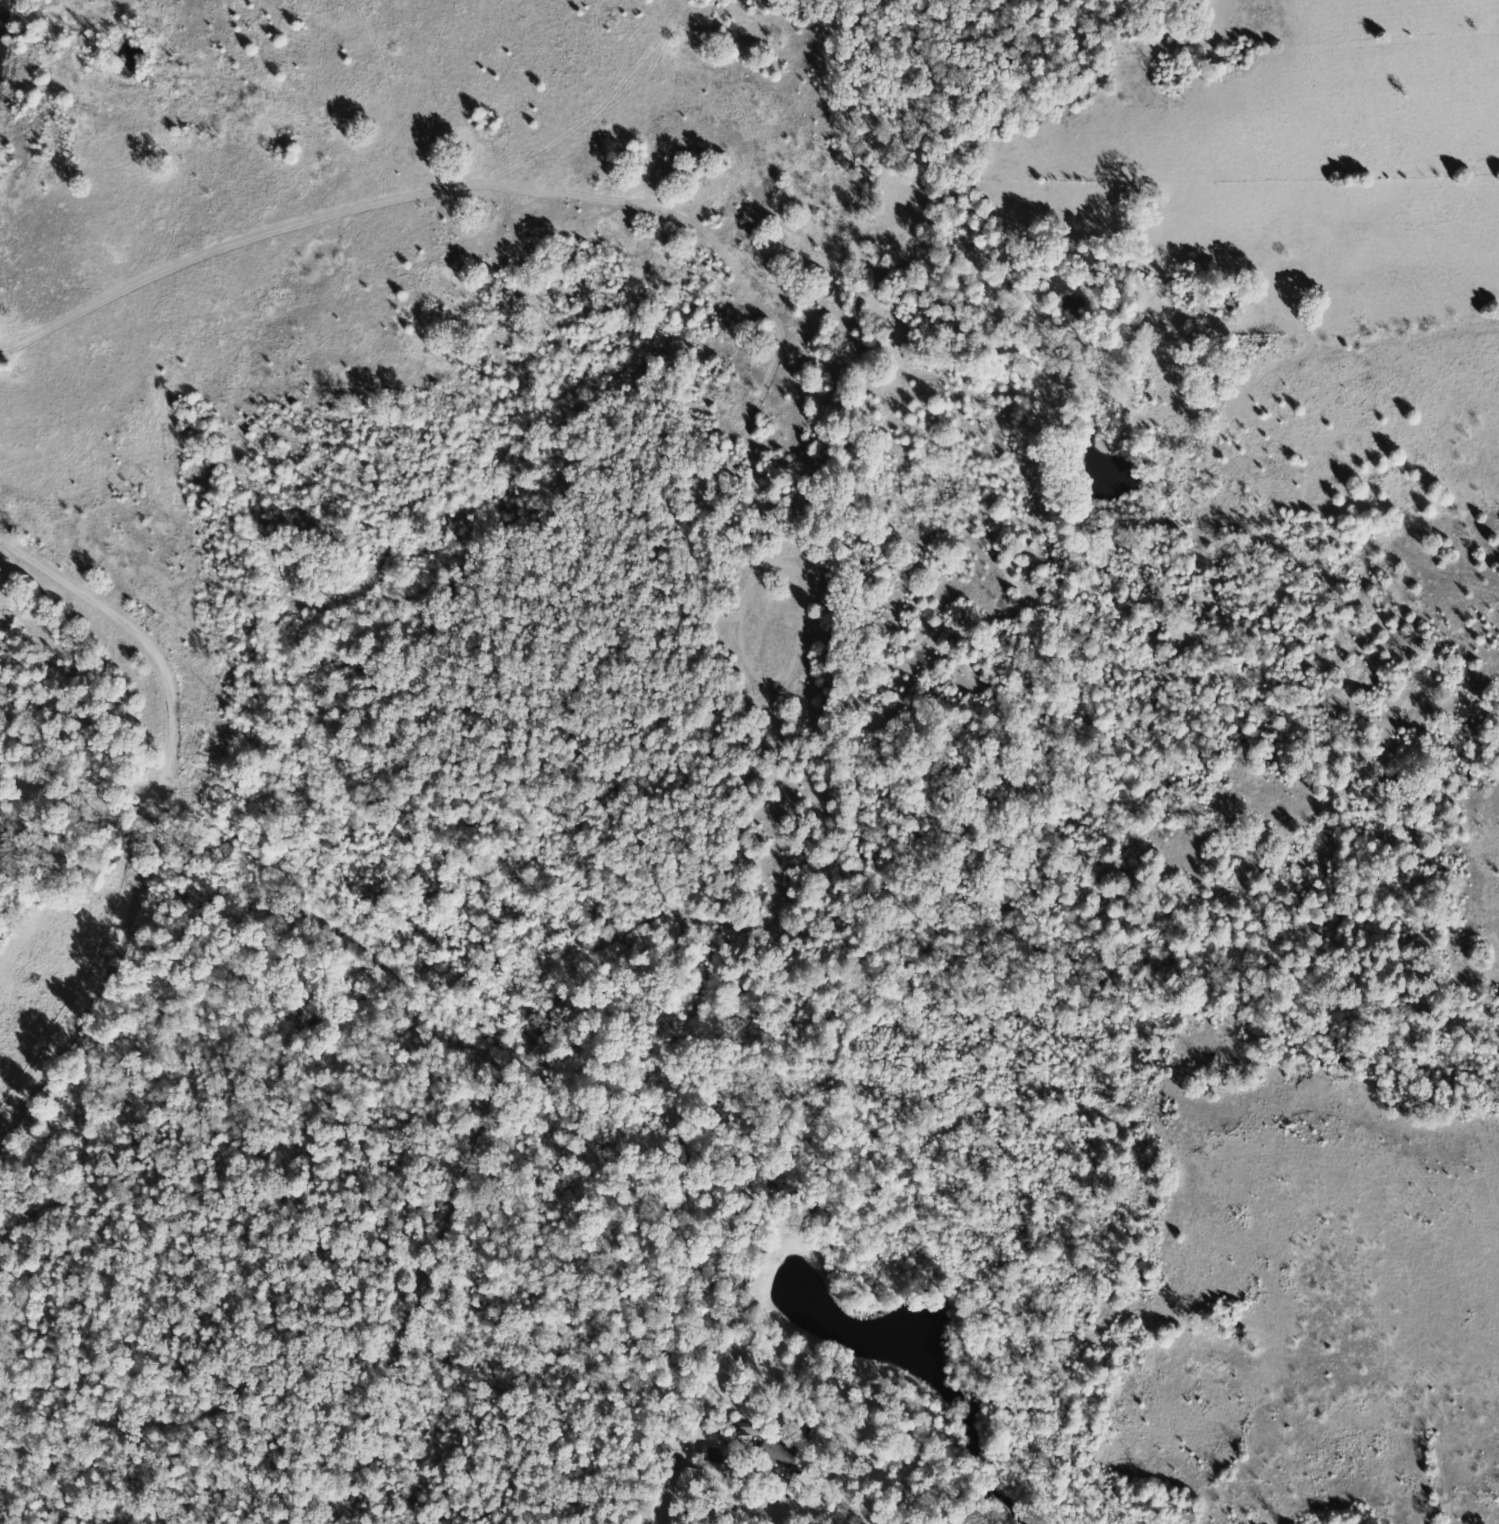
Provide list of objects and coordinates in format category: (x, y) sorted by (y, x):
road: (1023, 350)
road: (168, 784)
building: (787, 1455)

